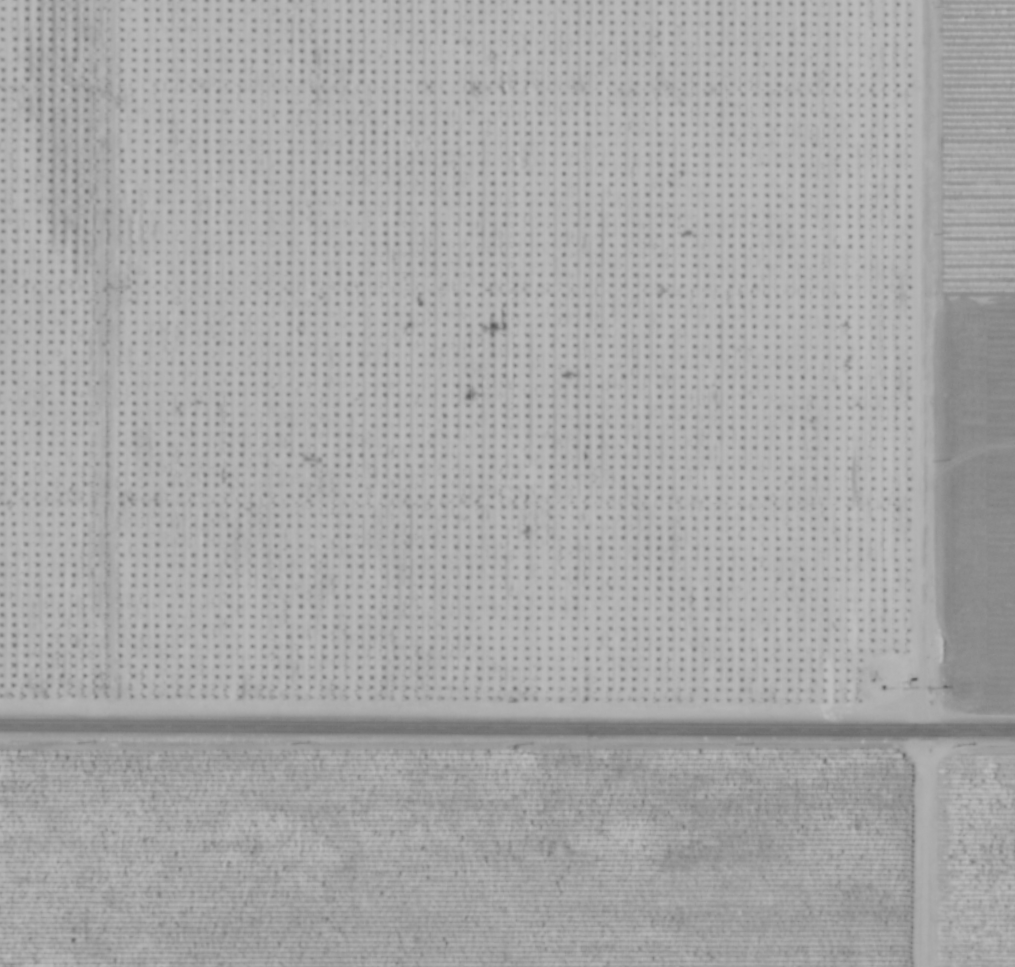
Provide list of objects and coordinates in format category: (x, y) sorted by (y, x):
road: (90, 363)
road: (921, 483)
road: (507, 729)
crop: (449, 859)

